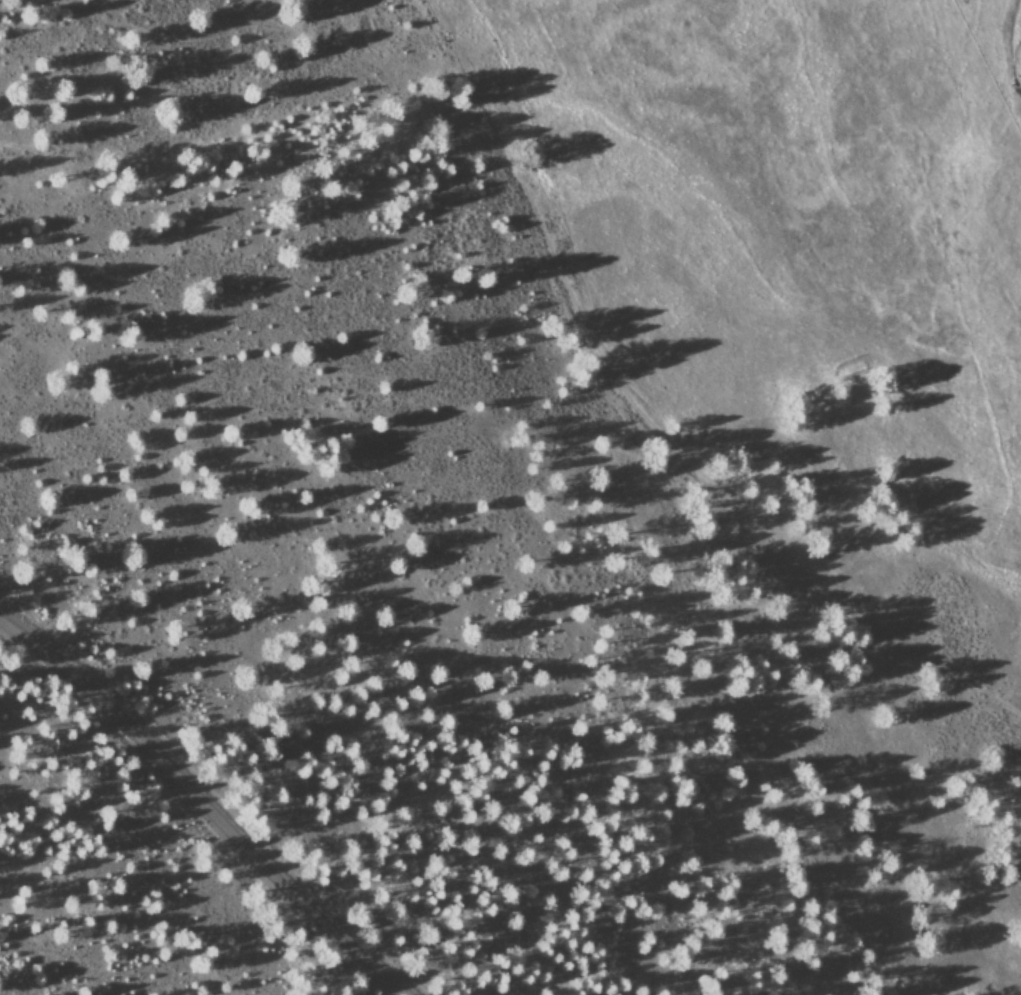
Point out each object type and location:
road: (192, 814)

